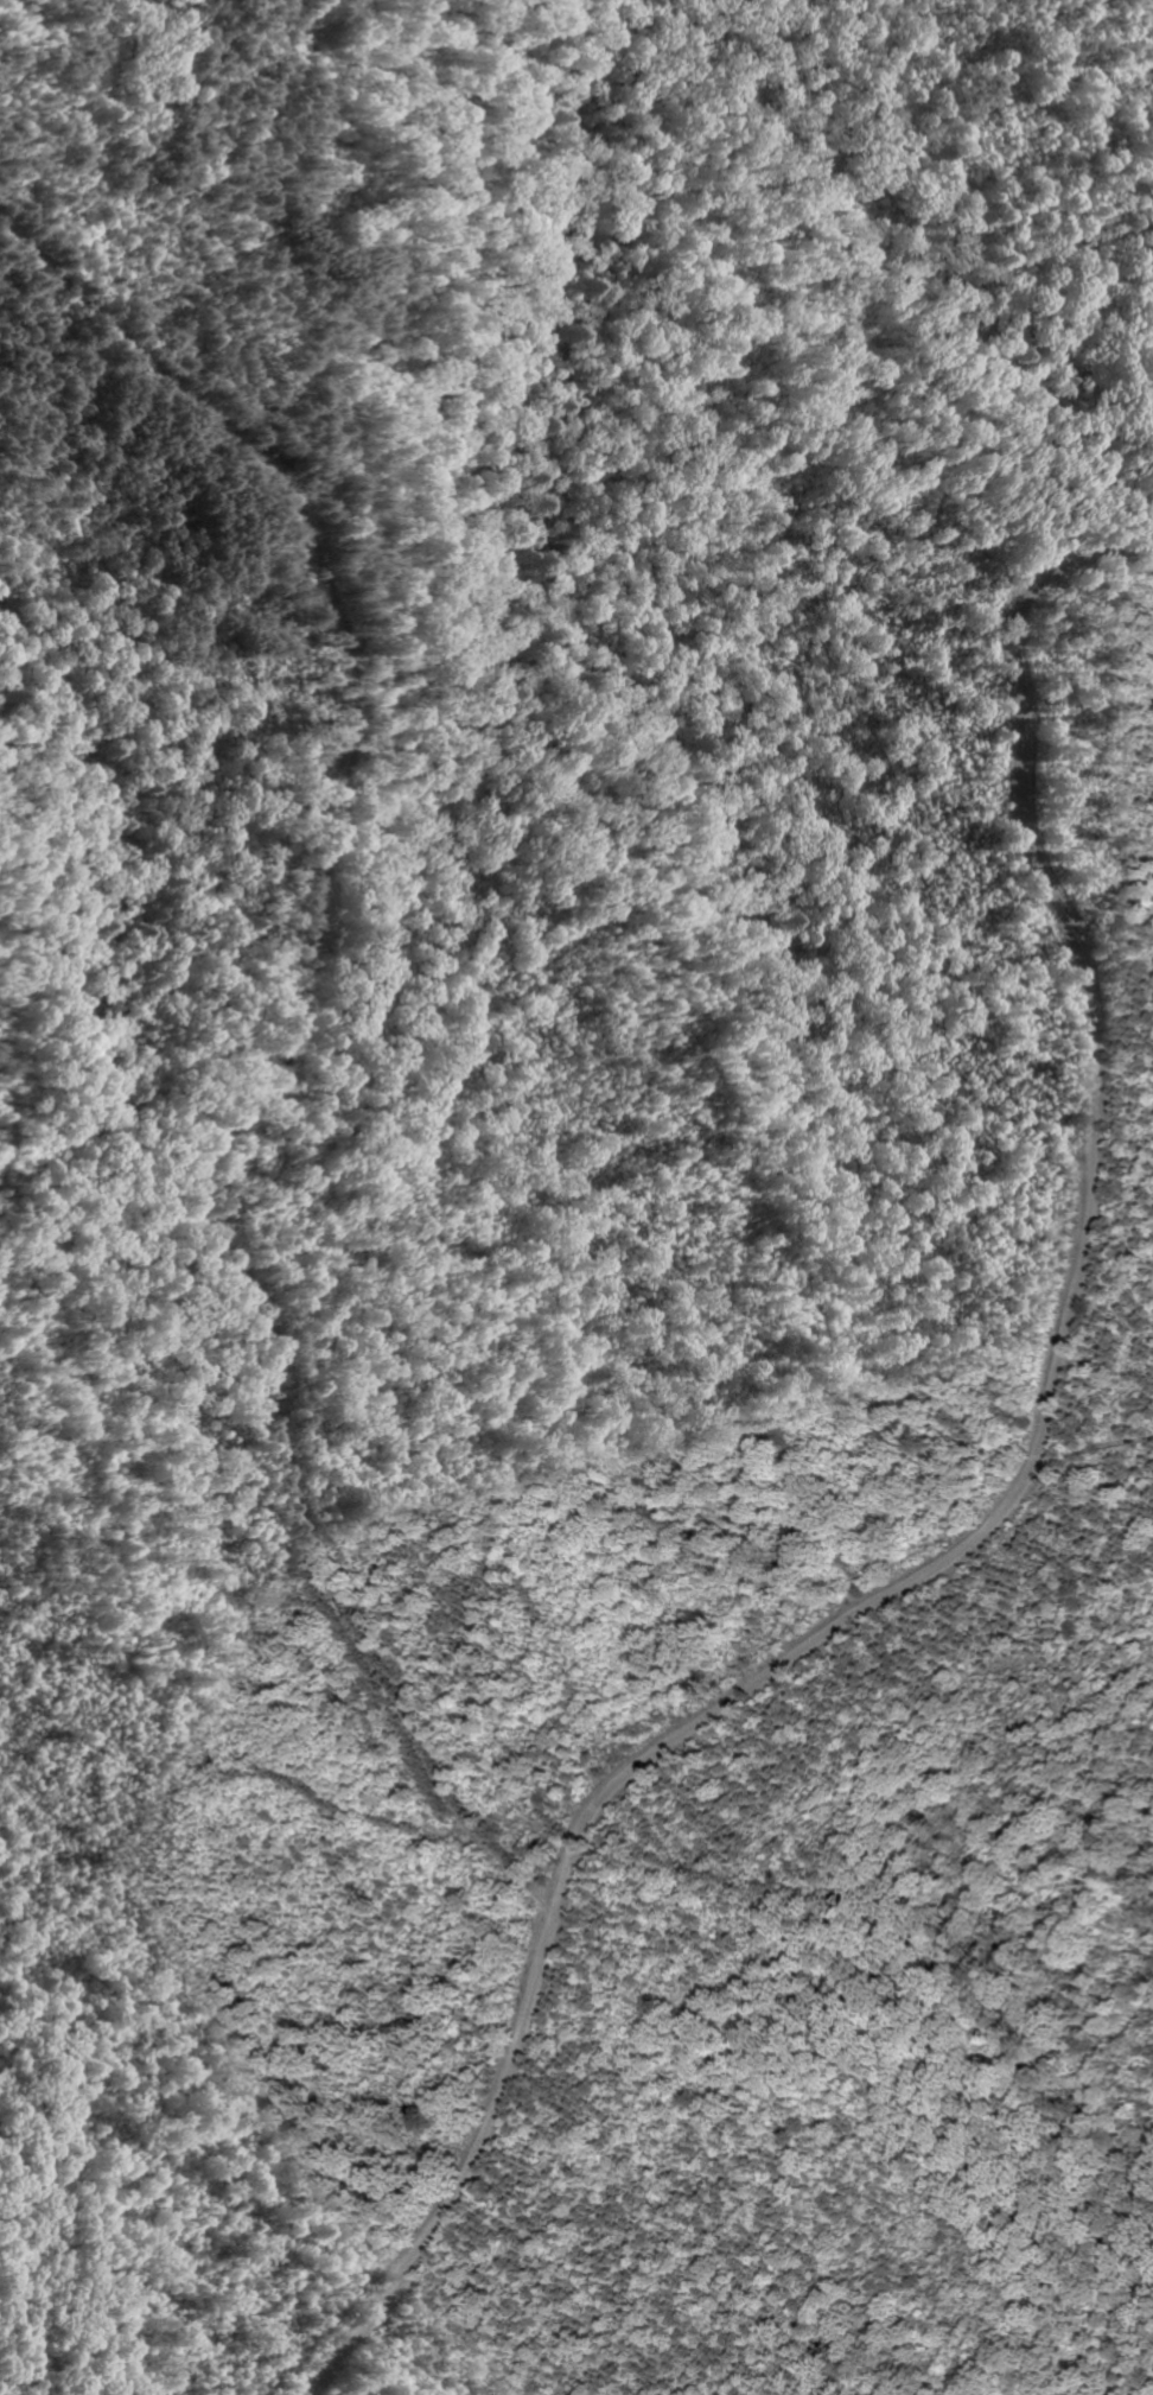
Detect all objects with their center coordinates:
road: (261, 1067)
road: (982, 1539)

